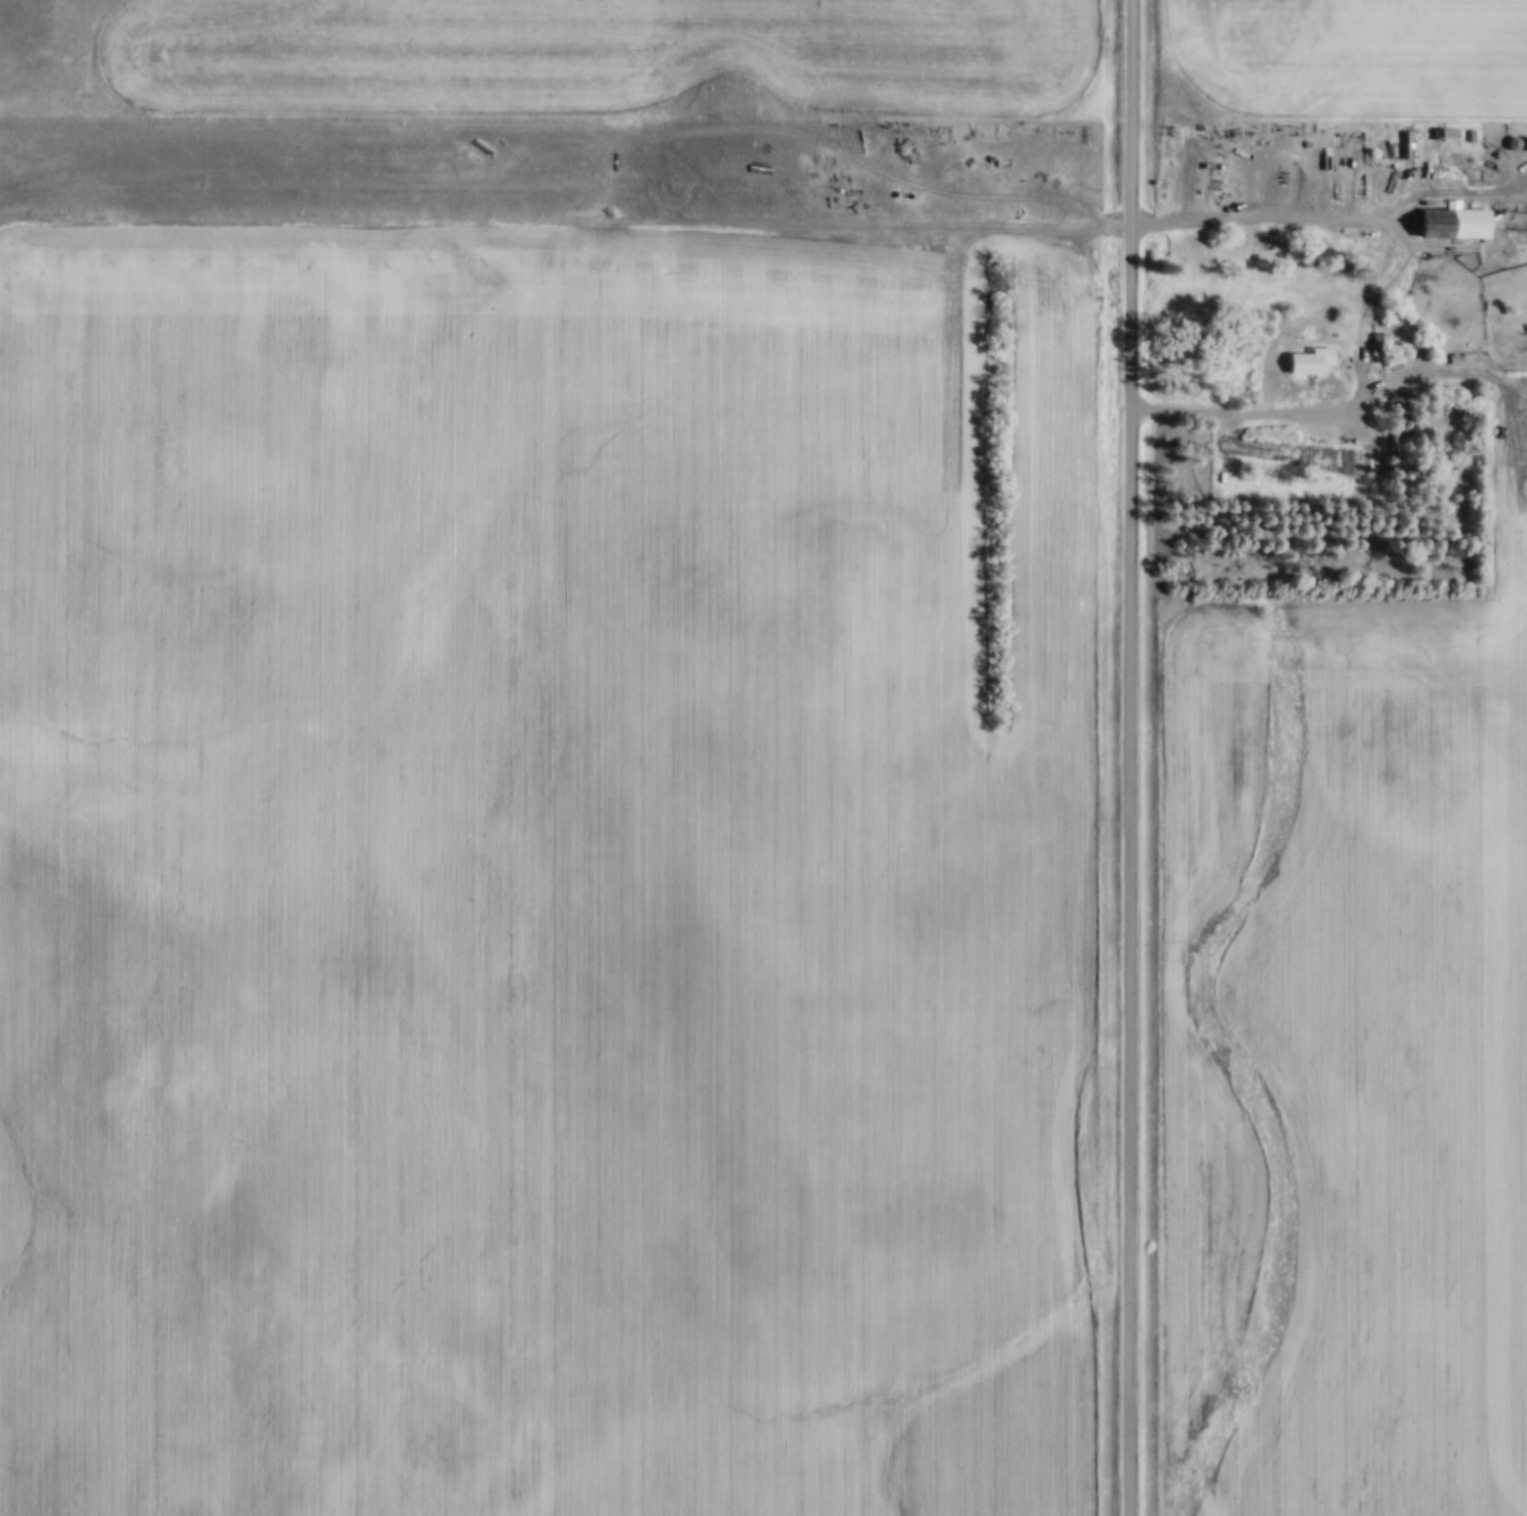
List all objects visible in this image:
road: (1454, 190)
road: (1259, 215)
building: (1459, 223)
road: (1381, 281)
building: (1383, 347)
building: (1315, 362)
road: (1279, 412)
road: (1130, 757)

